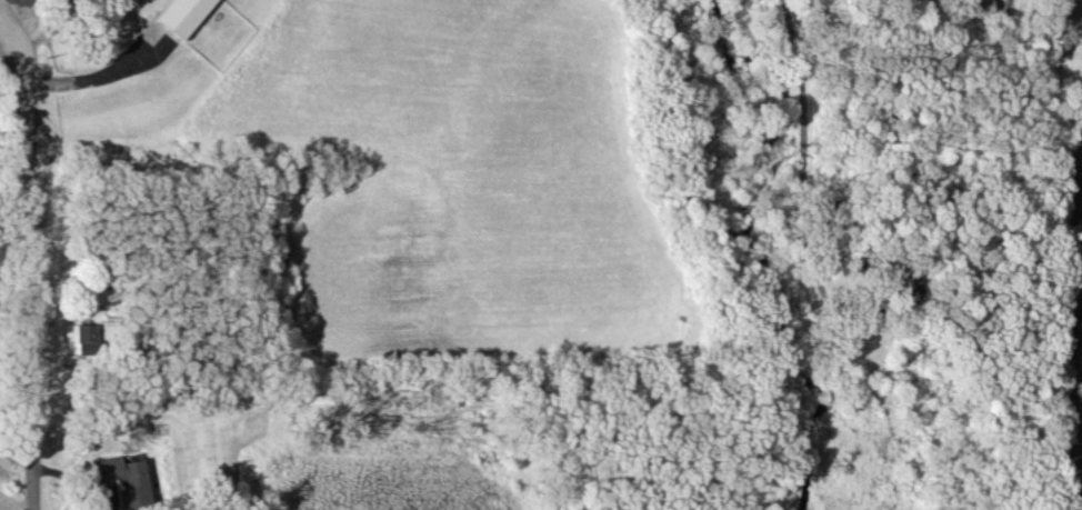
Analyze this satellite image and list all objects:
building: (974, 8)
building: (182, 14)
road: (14, 26)
road: (10, 44)
road: (87, 78)
road: (802, 138)
road: (24, 279)
building: (84, 338)
building: (124, 480)

